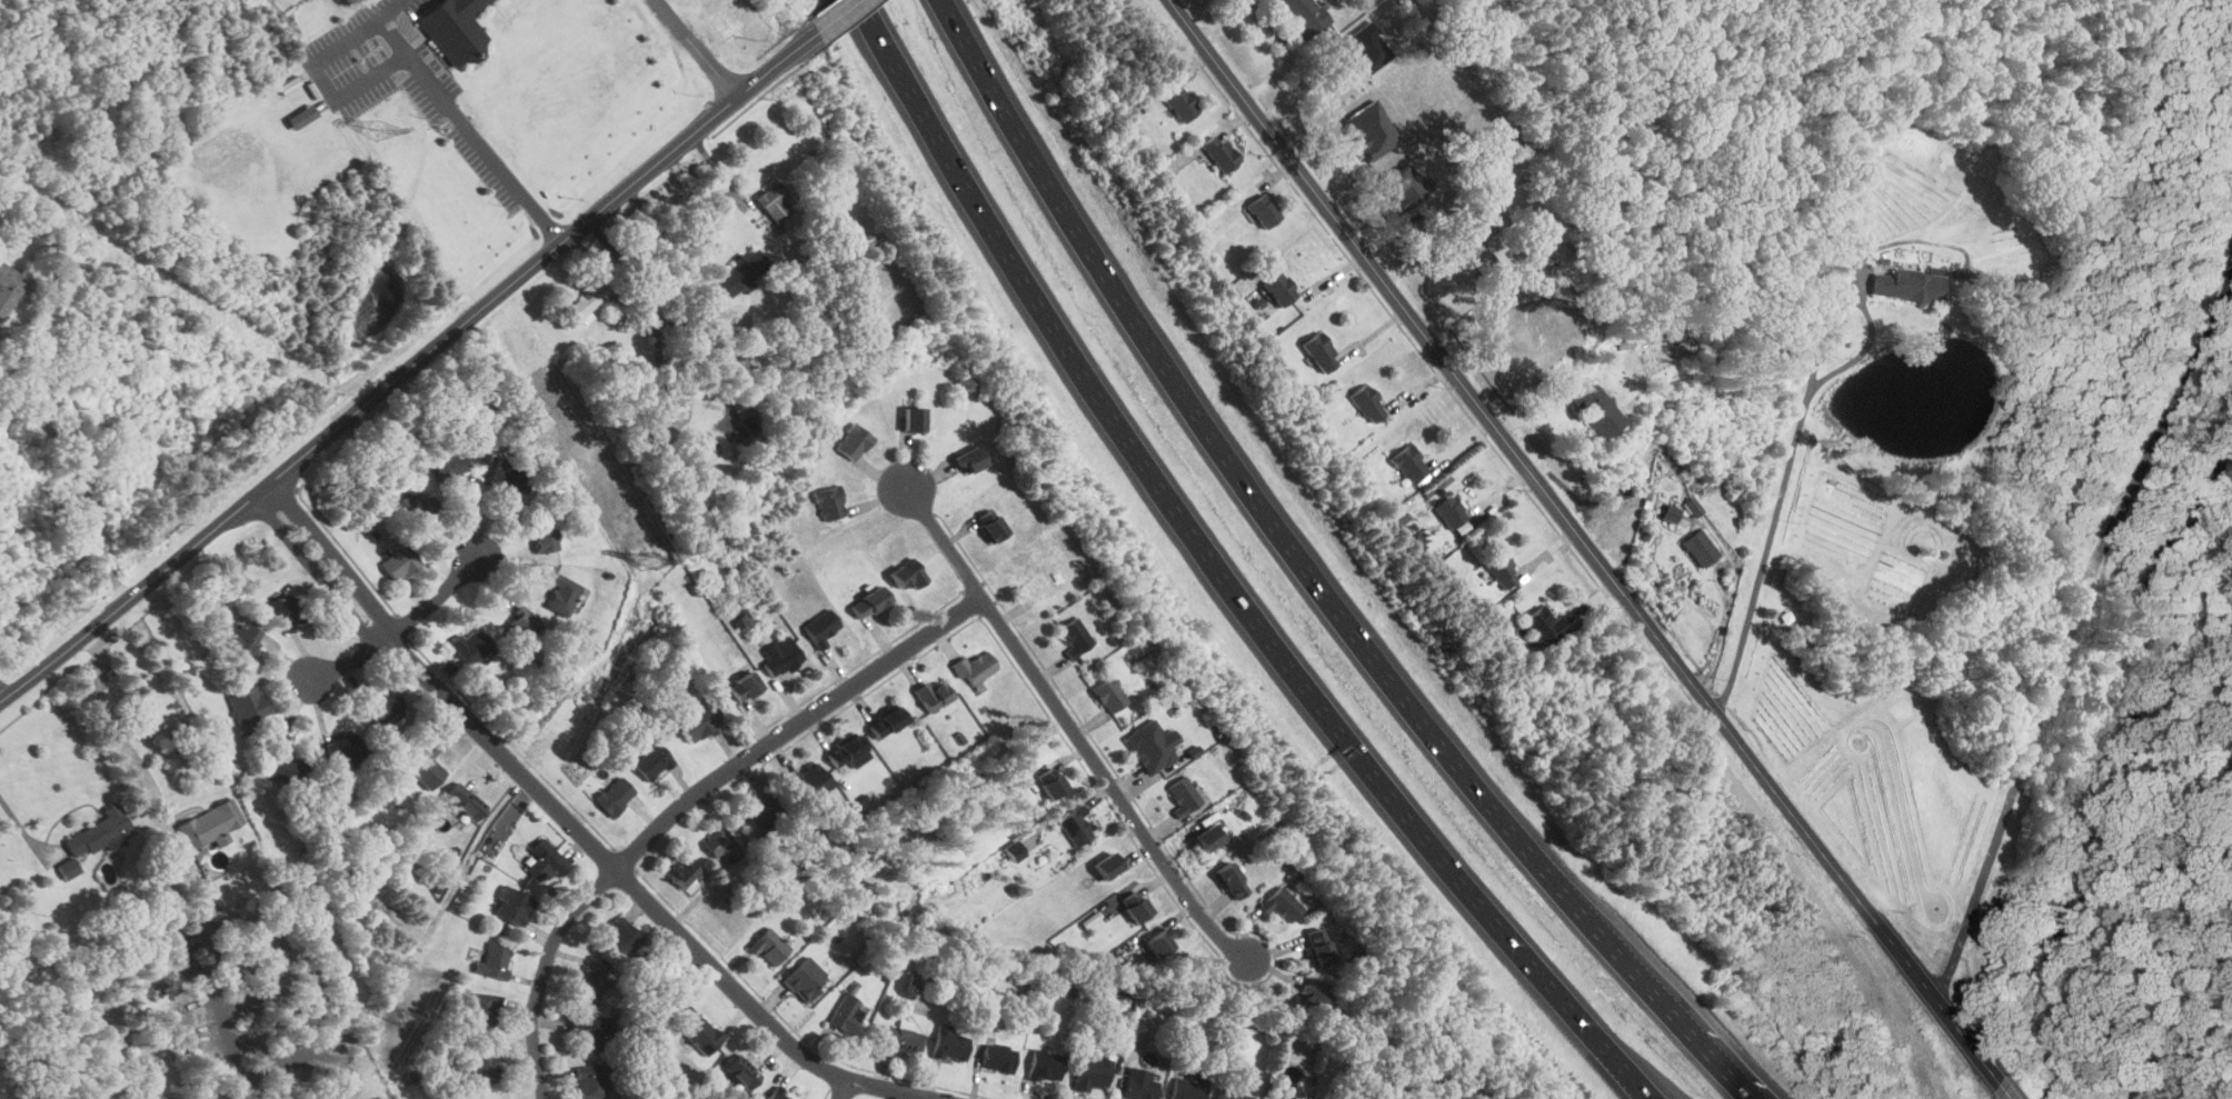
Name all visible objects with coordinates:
road: (396, 10)
road: (841, 16)
building: (1304, 18)
building: (457, 27)
road: (1275, 29)
building: (1365, 47)
road: (407, 49)
road: (697, 49)
parking lot: (406, 81)
road: (1313, 90)
building: (1183, 104)
building: (301, 116)
building: (1372, 129)
power tower: (378, 130)
building: (1219, 153)
building: (1405, 187)
building: (775, 201)
building: (1264, 211)
building: (1478, 243)
building: (741, 271)
building: (1907, 284)
building: (9, 289)
building: (1281, 289)
building: (591, 297)
road: (666, 321)
building: (1321, 352)
road: (410, 367)
building: (1367, 403)
building: (1600, 410)
building: (914, 418)
road: (1793, 436)
building: (854, 441)
building: (704, 444)
road: (1223, 450)
building: (971, 459)
building: (1409, 462)
building: (450, 464)
building: (506, 477)
road: (78, 479)
building: (831, 502)
building: (1692, 507)
building: (420, 508)
building: (1452, 512)
building: (1670, 512)
building: (1398, 517)
building: (992, 524)
building: (545, 534)
road: (1587, 540)
building: (1701, 548)
building: (400, 560)
power tower: (650, 560)
building: (1502, 569)
building: (909, 573)
road: (1222, 575)
building: (561, 595)
building: (870, 602)
building: (287, 610)
building: (1786, 617)
road: (401, 626)
building: (520, 626)
building: (823, 627)
building: (1545, 627)
road: (2070, 632)
building: (1076, 636)
building: (246, 637)
building: (471, 645)
building: (784, 659)
building: (975, 667)
building: (745, 686)
road: (7, 687)
building: (1110, 693)
building: (933, 695)
building: (247, 705)
building: (383, 706)
building: (887, 721)
building: (698, 723)
road: (1075, 731)
building: (1153, 745)
building: (343, 748)
building: (847, 750)
building: (1178, 756)
building: (651, 759)
building: (426, 765)
building: (286, 766)
building: (813, 781)
building: (1052, 782)
building: (615, 795)
building: (1186, 797)
building: (465, 800)
road: (690, 802)
building: (763, 813)
road: (17, 817)
building: (209, 825)
road: (575, 825)
building: (1076, 826)
building: (100, 830)
building: (1208, 837)
building: (721, 846)
building: (1015, 850)
road: (181, 852)
building: (546, 860)
building: (1109, 865)
building: (70, 868)
building: (685, 872)
building: (1232, 880)
building: (1282, 902)
building: (514, 905)
building: (1136, 905)
building: (621, 938)
building: (1160, 942)
building: (1318, 946)
building: (769, 947)
building: (495, 960)
building: (805, 979)
building: (591, 982)
road: (1652, 986)
building: (1309, 997)
building: (484, 1009)
building: (846, 1015)
power tower: (403, 1021)
building: (592, 1029)
building: (703, 1036)
building: (903, 1038)
building: (950, 1043)
building: (998, 1057)
building: (1046, 1066)
building: (485, 1067)
building: (741, 1071)
building: (1093, 1072)
building: (591, 1079)
building: (1139, 1083)
building: (1189, 1085)
road: (844, 1089)
road: (2007, 1091)
building: (777, 1093)
building: (1232, 1095)

